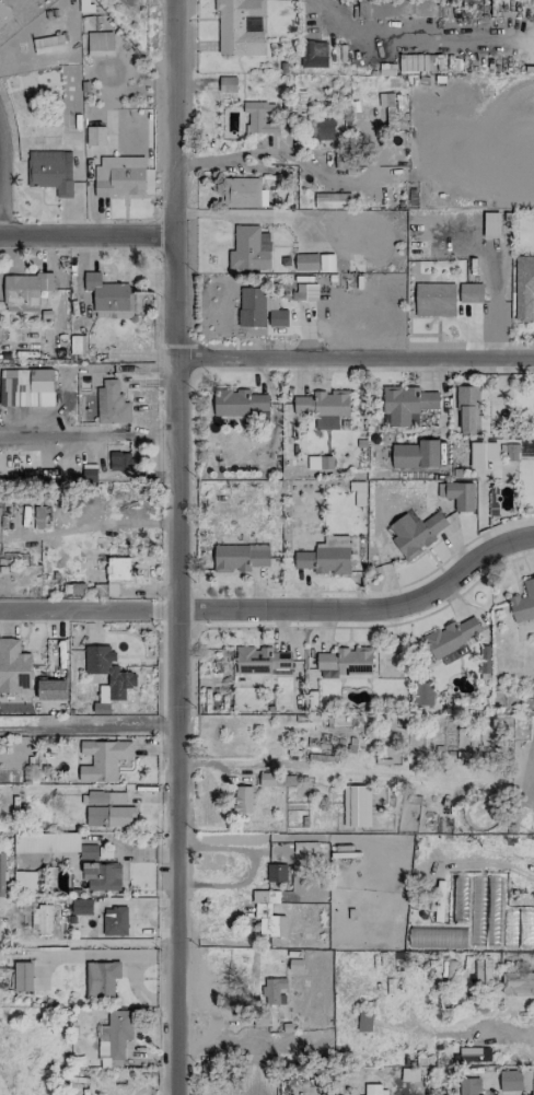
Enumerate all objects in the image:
building: (395, 8)
building: (3, 14)
building: (240, 26)
road: (419, 36)
building: (100, 44)
building: (313, 54)
building: (227, 83)
building: (298, 102)
building: (258, 117)
building: (322, 129)
building: (95, 136)
road: (38, 142)
road: (282, 153)
building: (343, 161)
building: (50, 171)
building: (119, 176)
building: (243, 193)
building: (332, 200)
road: (249, 218)
building: (491, 225)
road: (86, 240)
building: (248, 248)
building: (314, 261)
building: (523, 288)
building: (24, 291)
building: (305, 291)
building: (469, 292)
building: (108, 296)
building: (434, 299)
building: (259, 310)
road: (353, 356)
building: (33, 387)
building: (111, 403)
building: (237, 403)
building: (405, 405)
building: (323, 407)
building: (467, 408)
road: (101, 434)
building: (510, 452)
building: (483, 453)
building: (415, 454)
building: (119, 461)
building: (457, 494)
building: (415, 533)
road: (175, 547)
building: (239, 557)
building: (324, 560)
building: (116, 573)
building: (523, 602)
road: (363, 610)
road: (88, 613)
building: (450, 640)
building: (260, 660)
building: (13, 666)
building: (120, 679)
building: (422, 691)
road: (88, 726)
building: (102, 759)
building: (243, 799)
building: (356, 805)
building: (107, 809)
building: (46, 842)
building: (88, 851)
road: (255, 862)
building: (276, 872)
building: (1, 874)
building: (102, 876)
building: (28, 882)
building: (81, 906)
building: (268, 913)
building: (42, 920)
building: (114, 921)
building: (437, 936)
road: (89, 943)
building: (483, 972)
building: (22, 976)
building: (101, 978)
building: (518, 982)
building: (275, 990)
road: (475, 1027)
building: (114, 1038)
building: (409, 1074)
building: (510, 1081)
building: (467, 1085)
building: (375, 1090)

